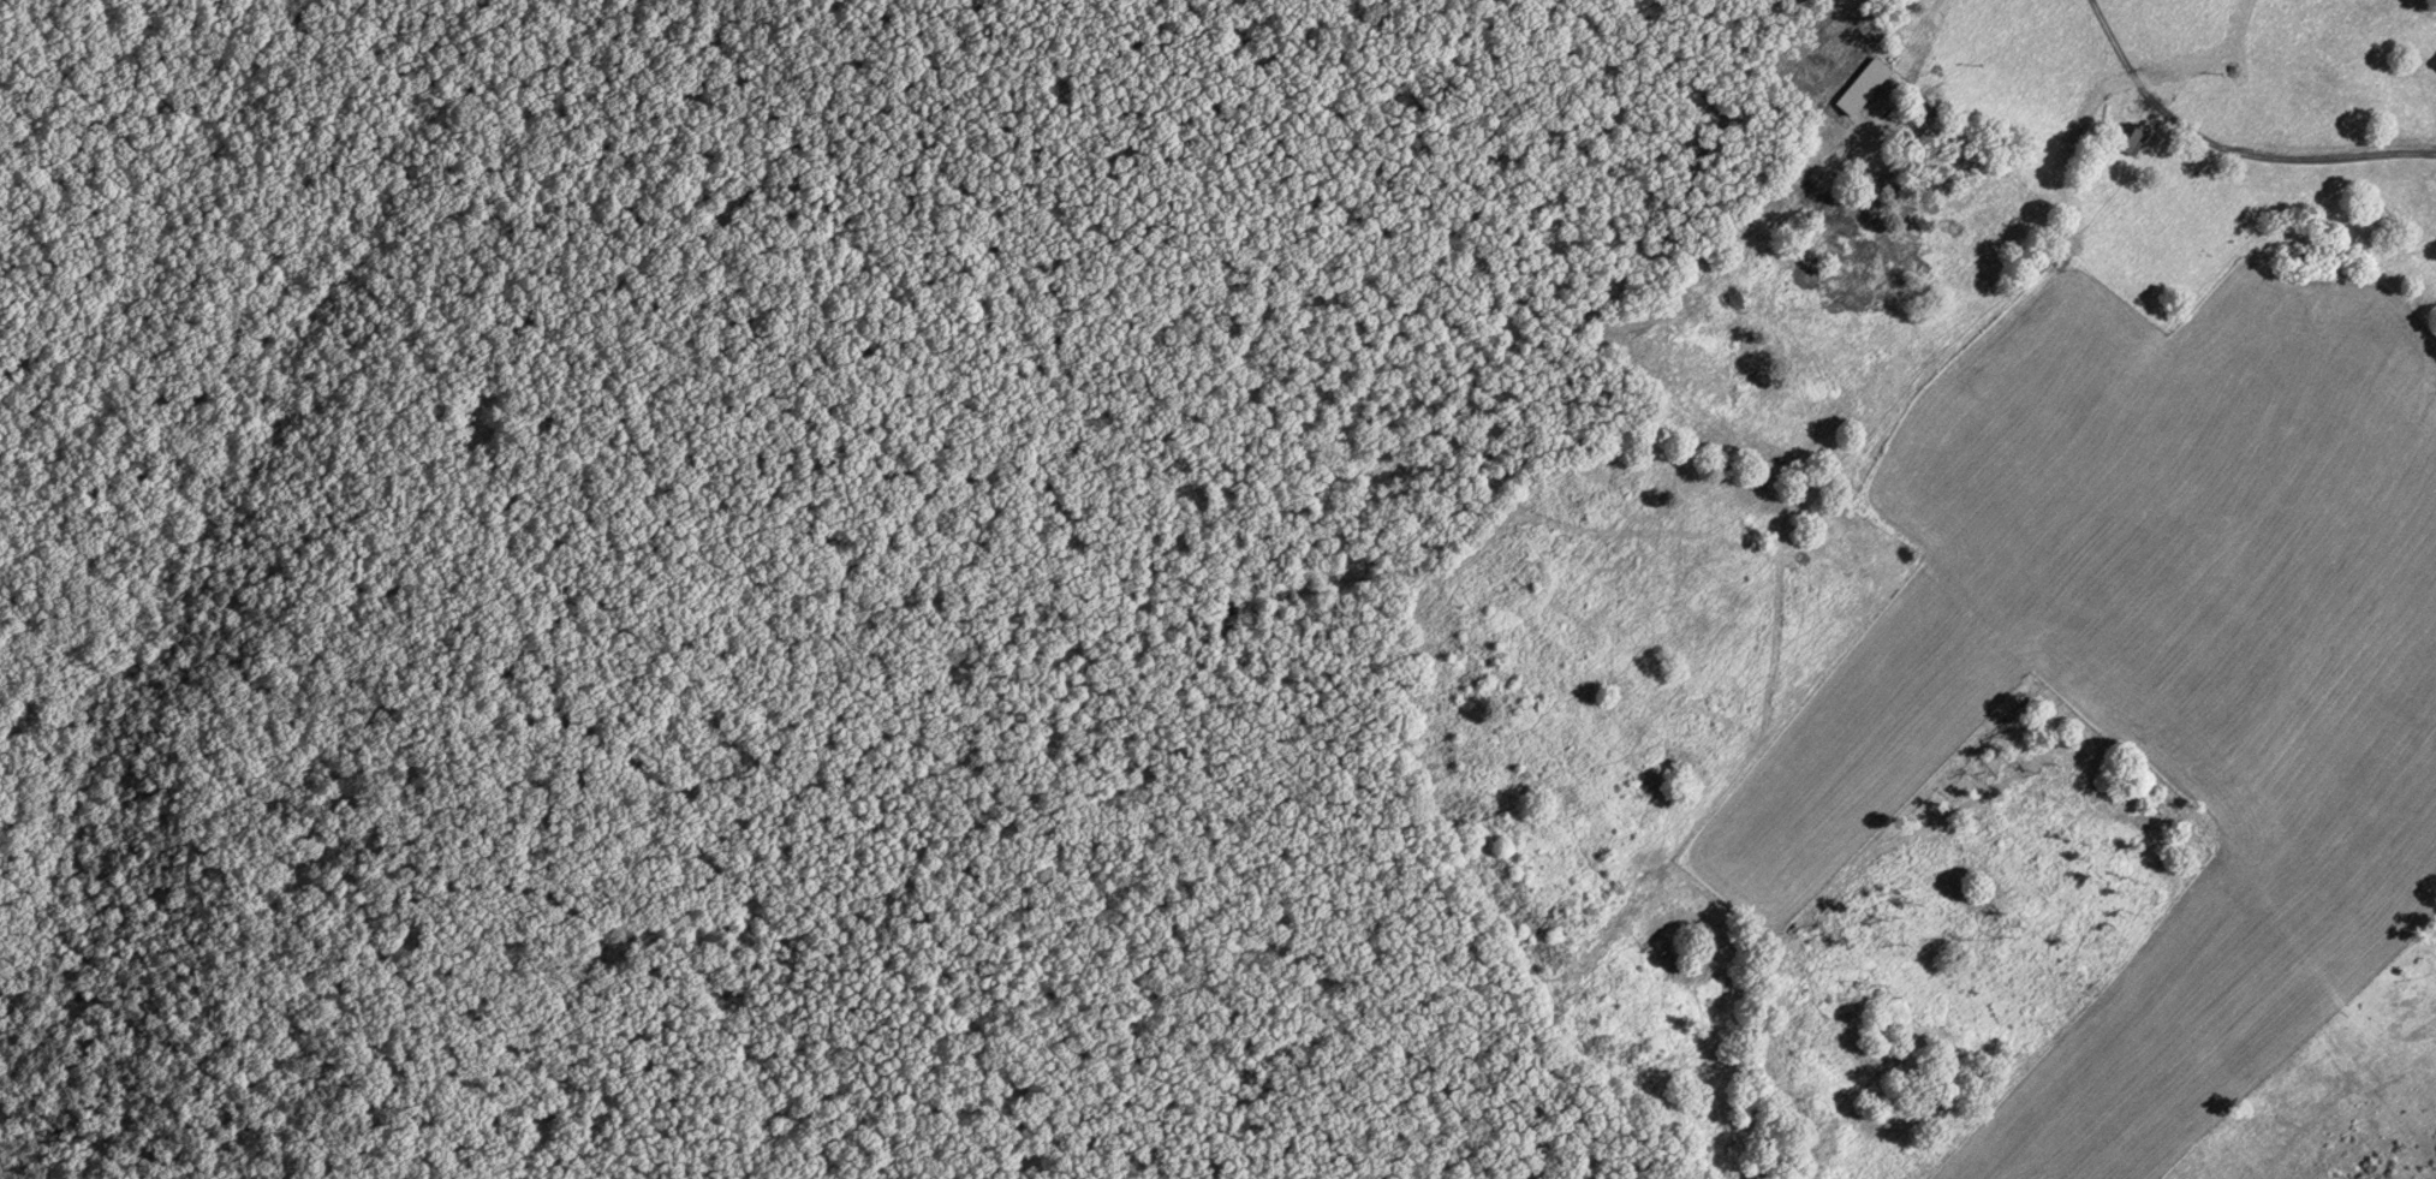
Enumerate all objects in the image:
road: (2283, 144)

